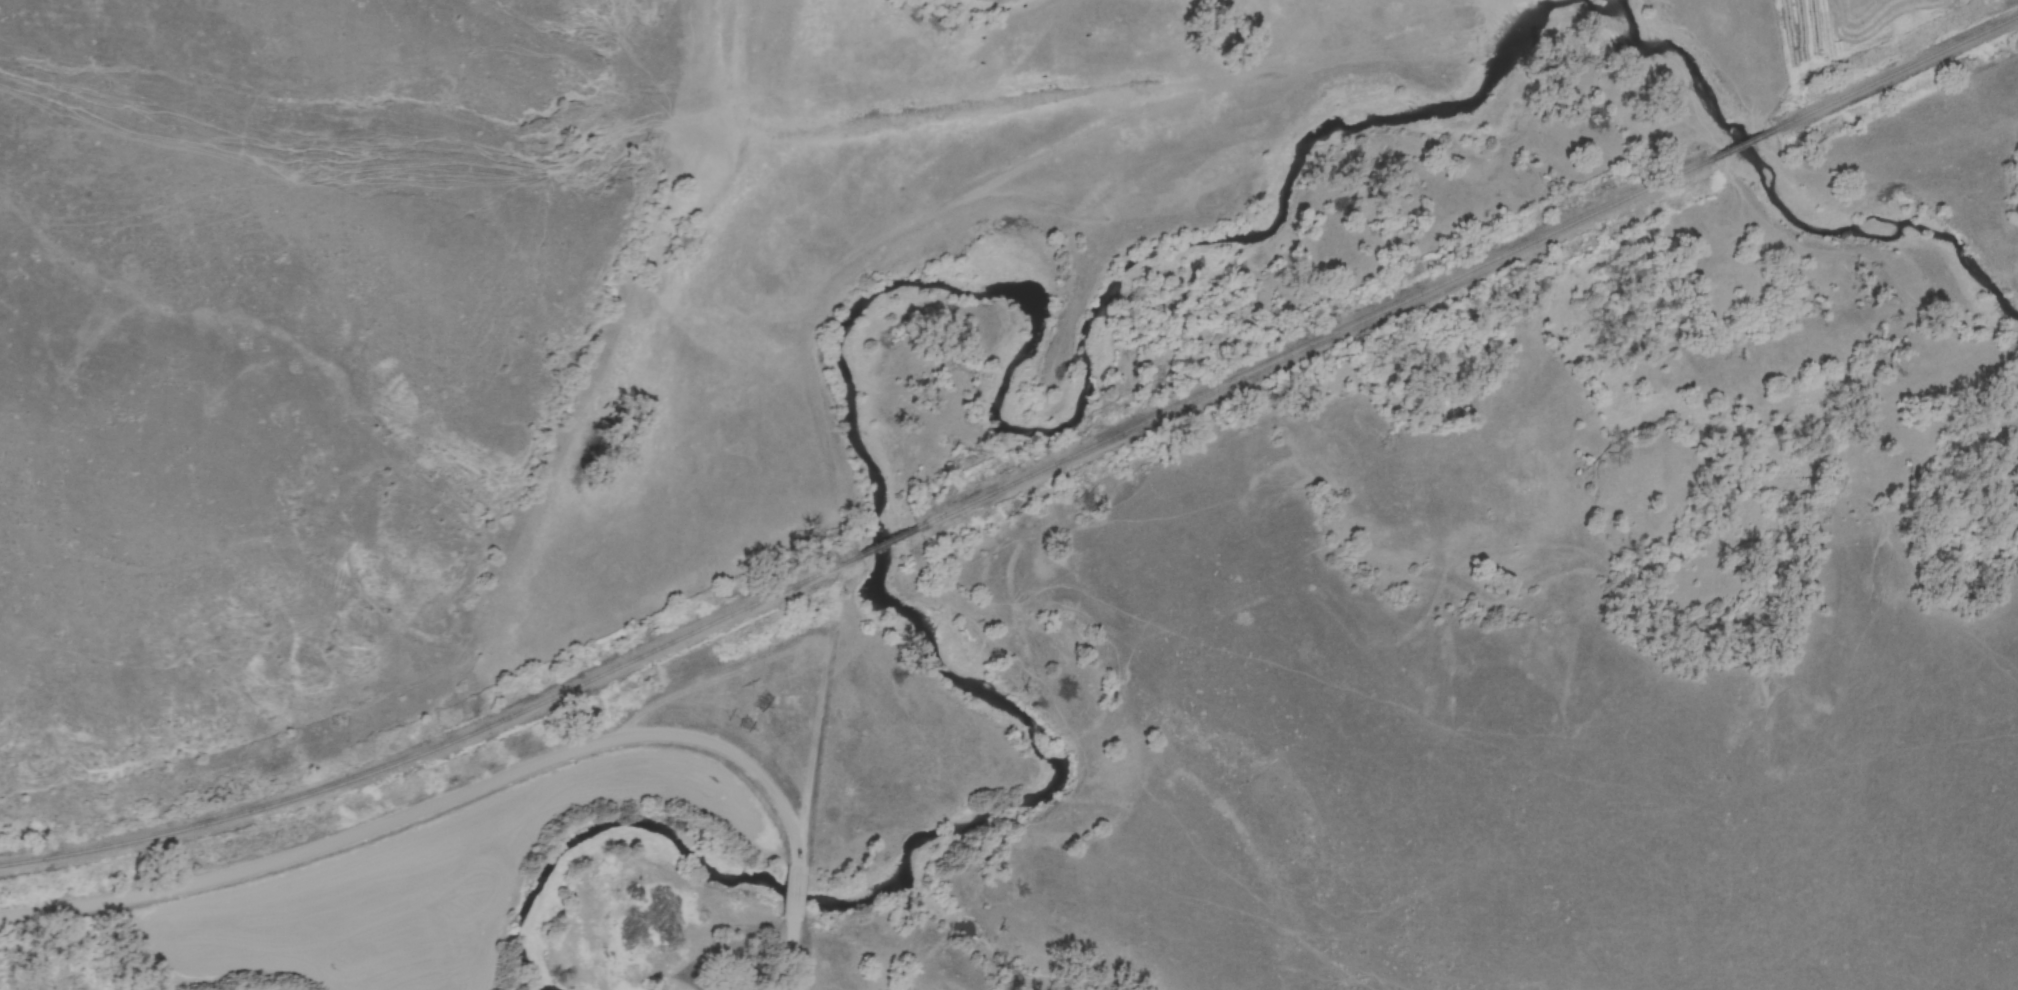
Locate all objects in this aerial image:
railway: (1892, 73)
railway: (1740, 144)
railway: (1310, 347)
railway: (881, 541)
railway: (441, 745)
road: (437, 803)
road: (791, 895)
road: (791, 955)

